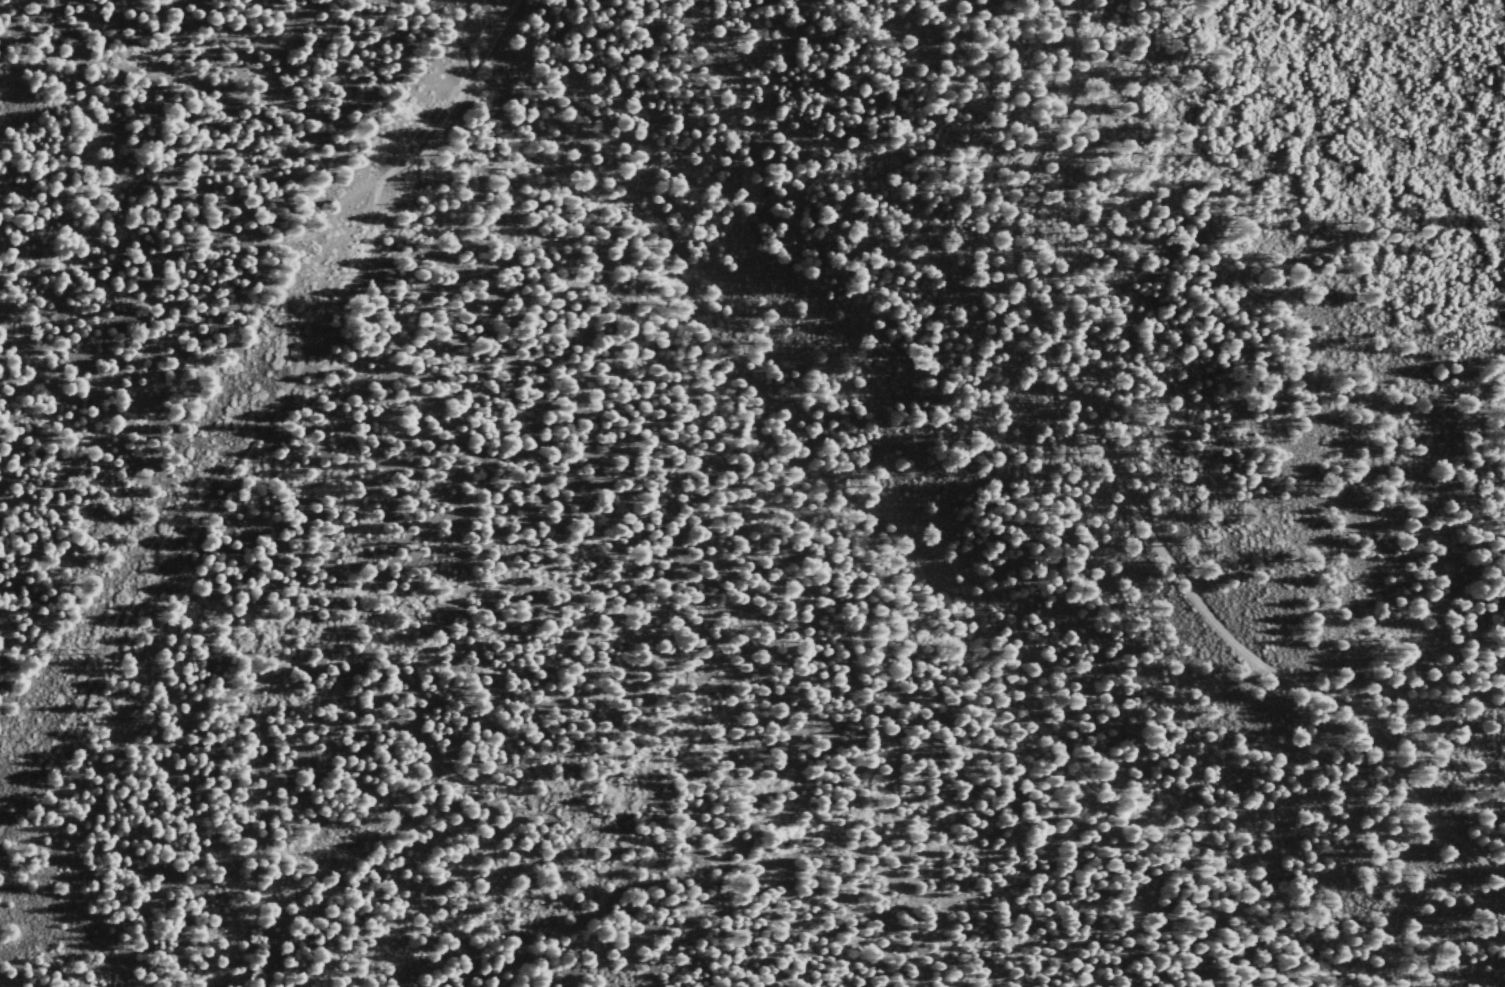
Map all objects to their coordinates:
road: (210, 89)
power tower: (298, 311)
road: (273, 418)
road: (1128, 501)
power tower: (88, 651)

